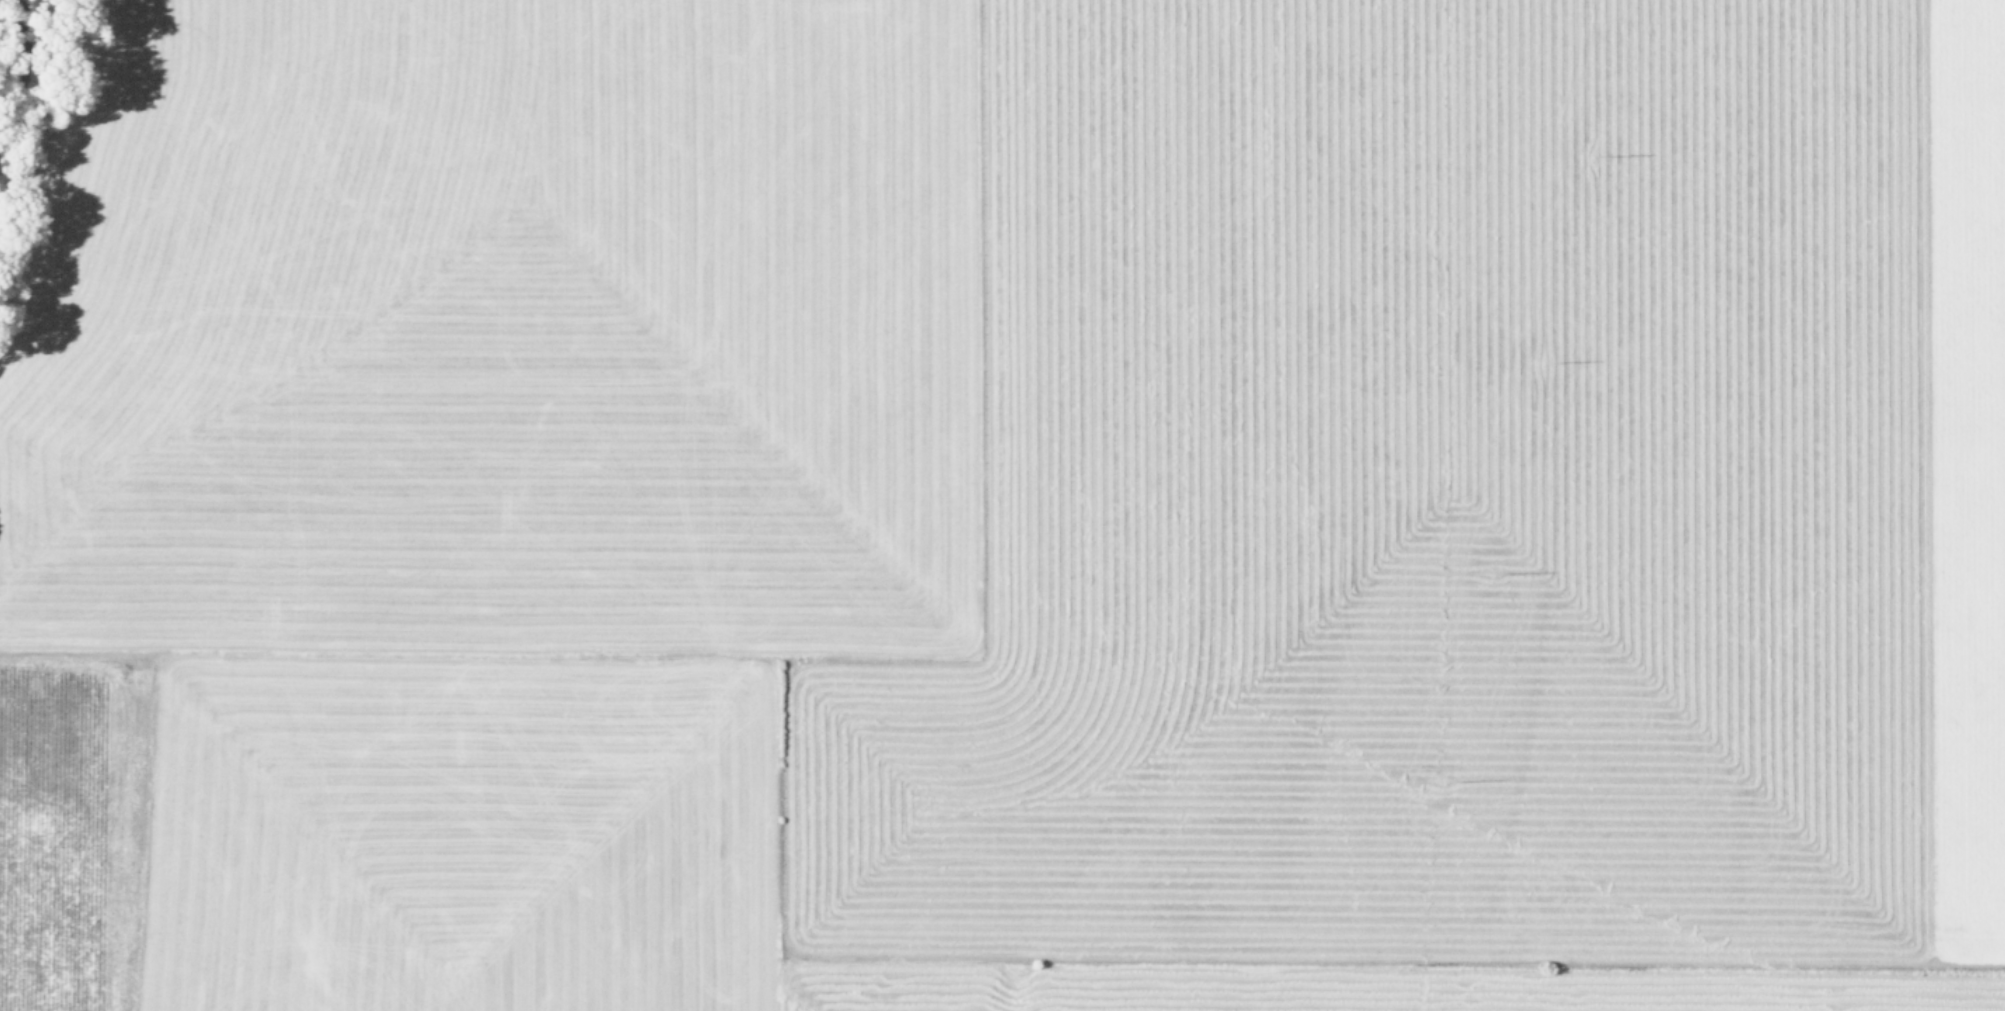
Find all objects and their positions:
crop: (1007, 507)

